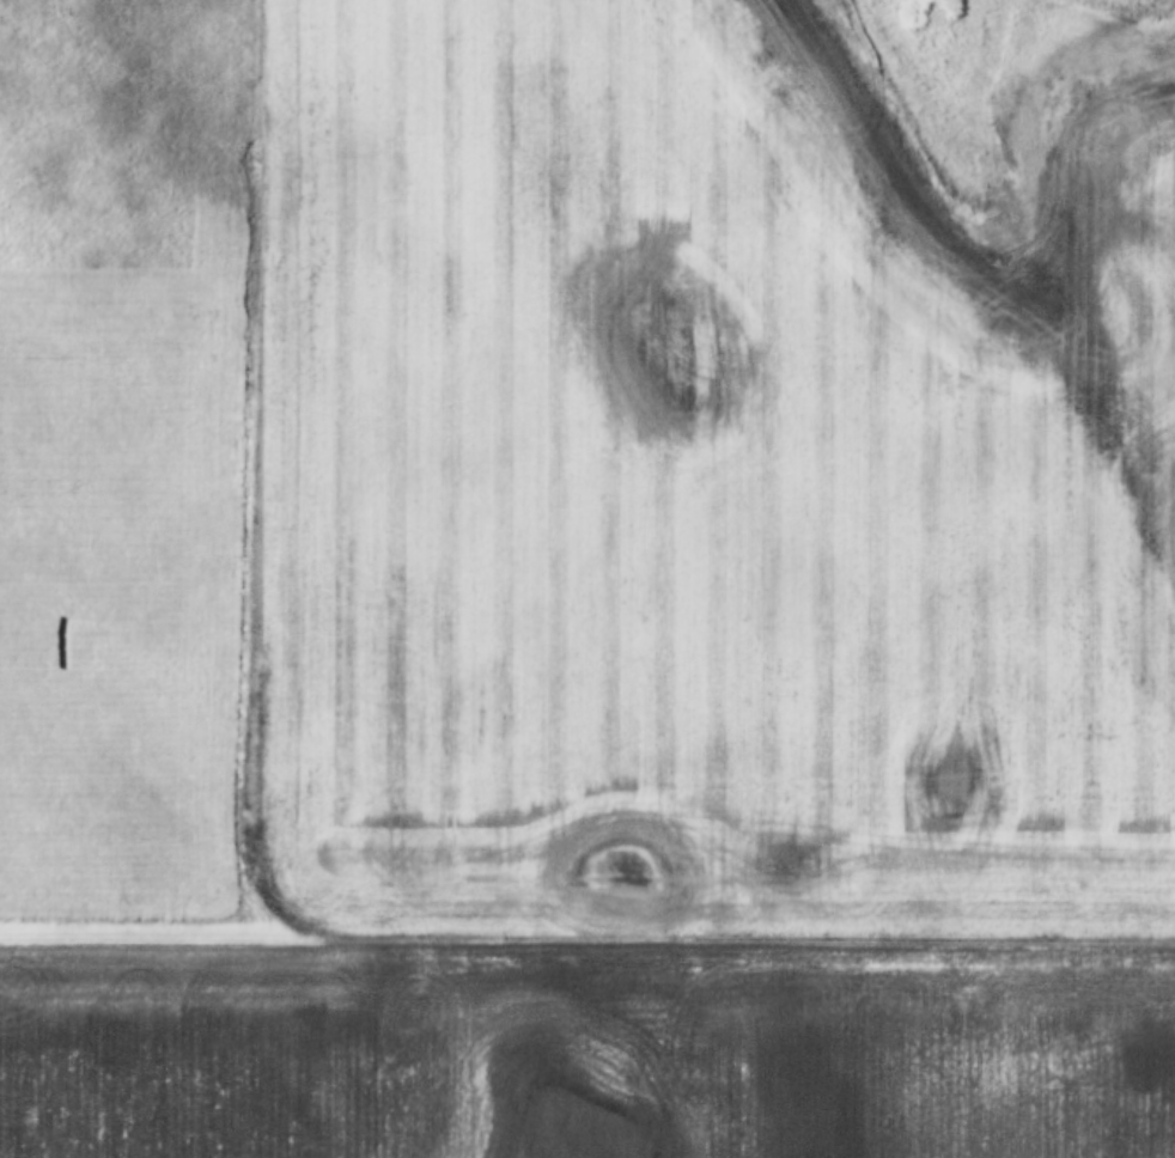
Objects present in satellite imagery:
road: (249, 465)
road: (586, 937)

